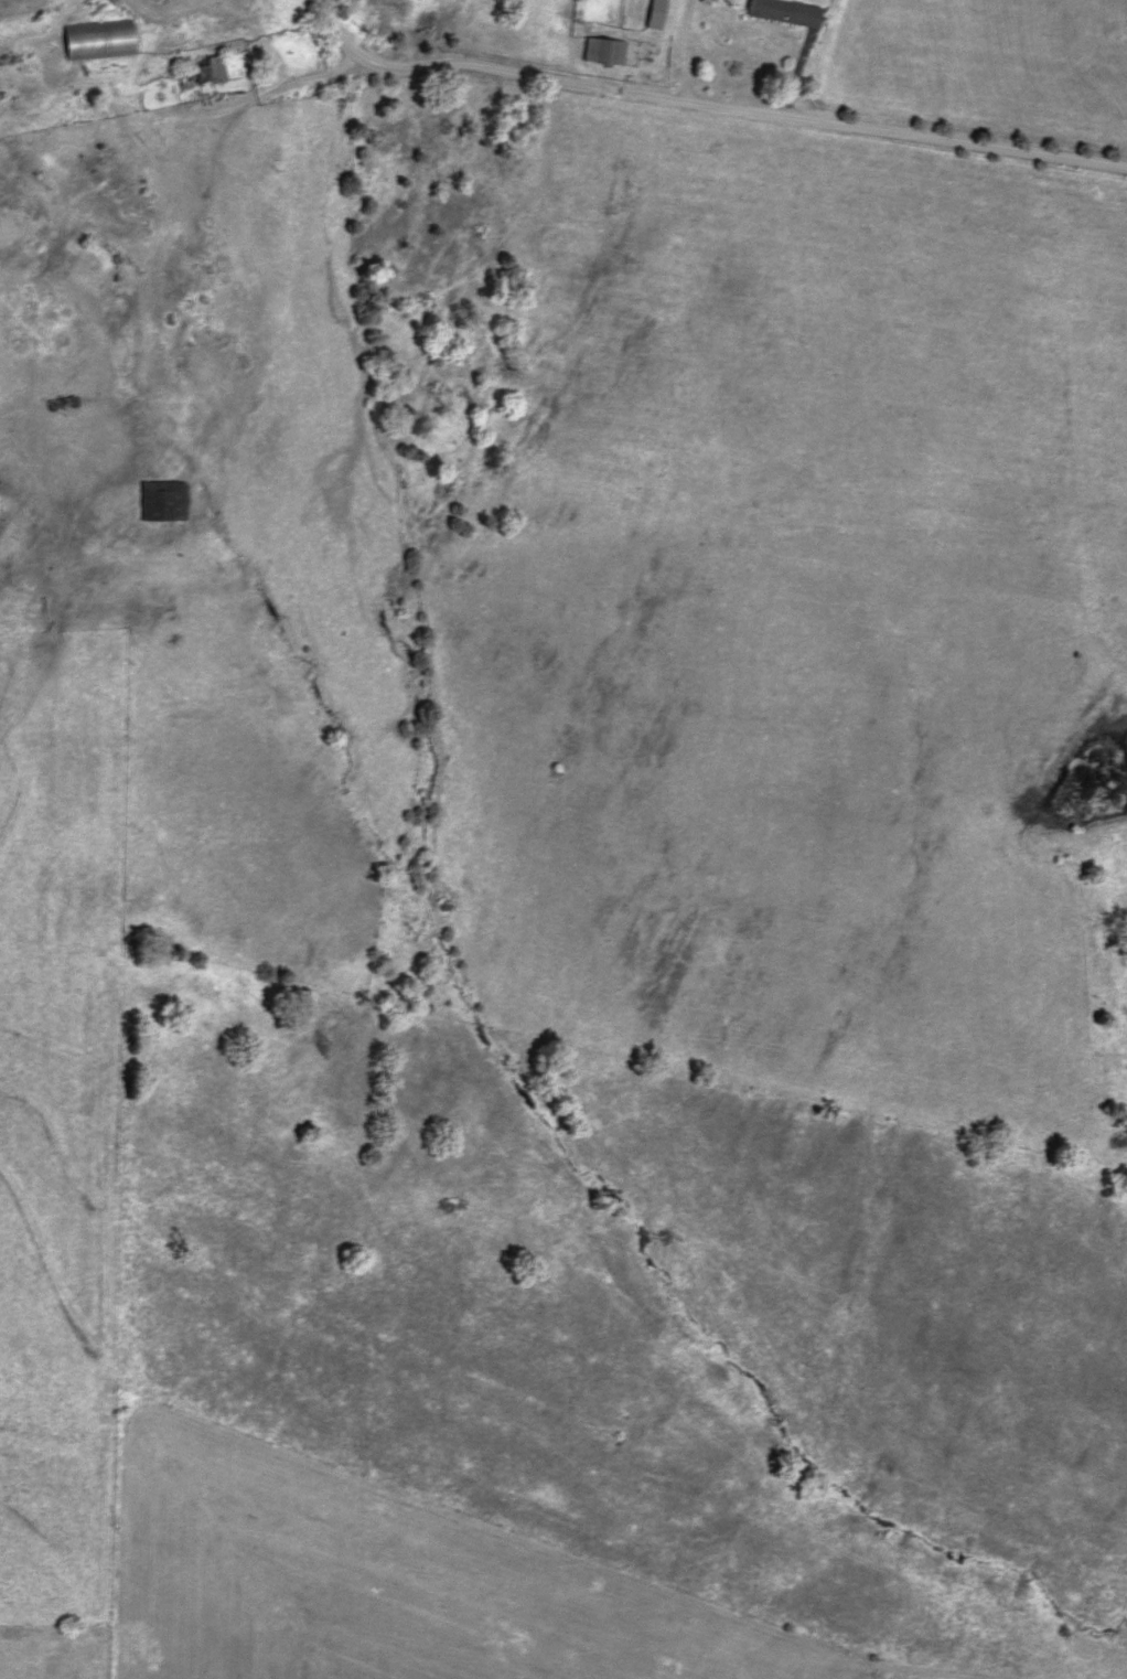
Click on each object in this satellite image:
building: (785, 11)
building: (655, 14)
building: (99, 41)
building: (604, 51)
building: (208, 69)
road: (706, 113)
building: (62, 403)
building: (163, 501)

